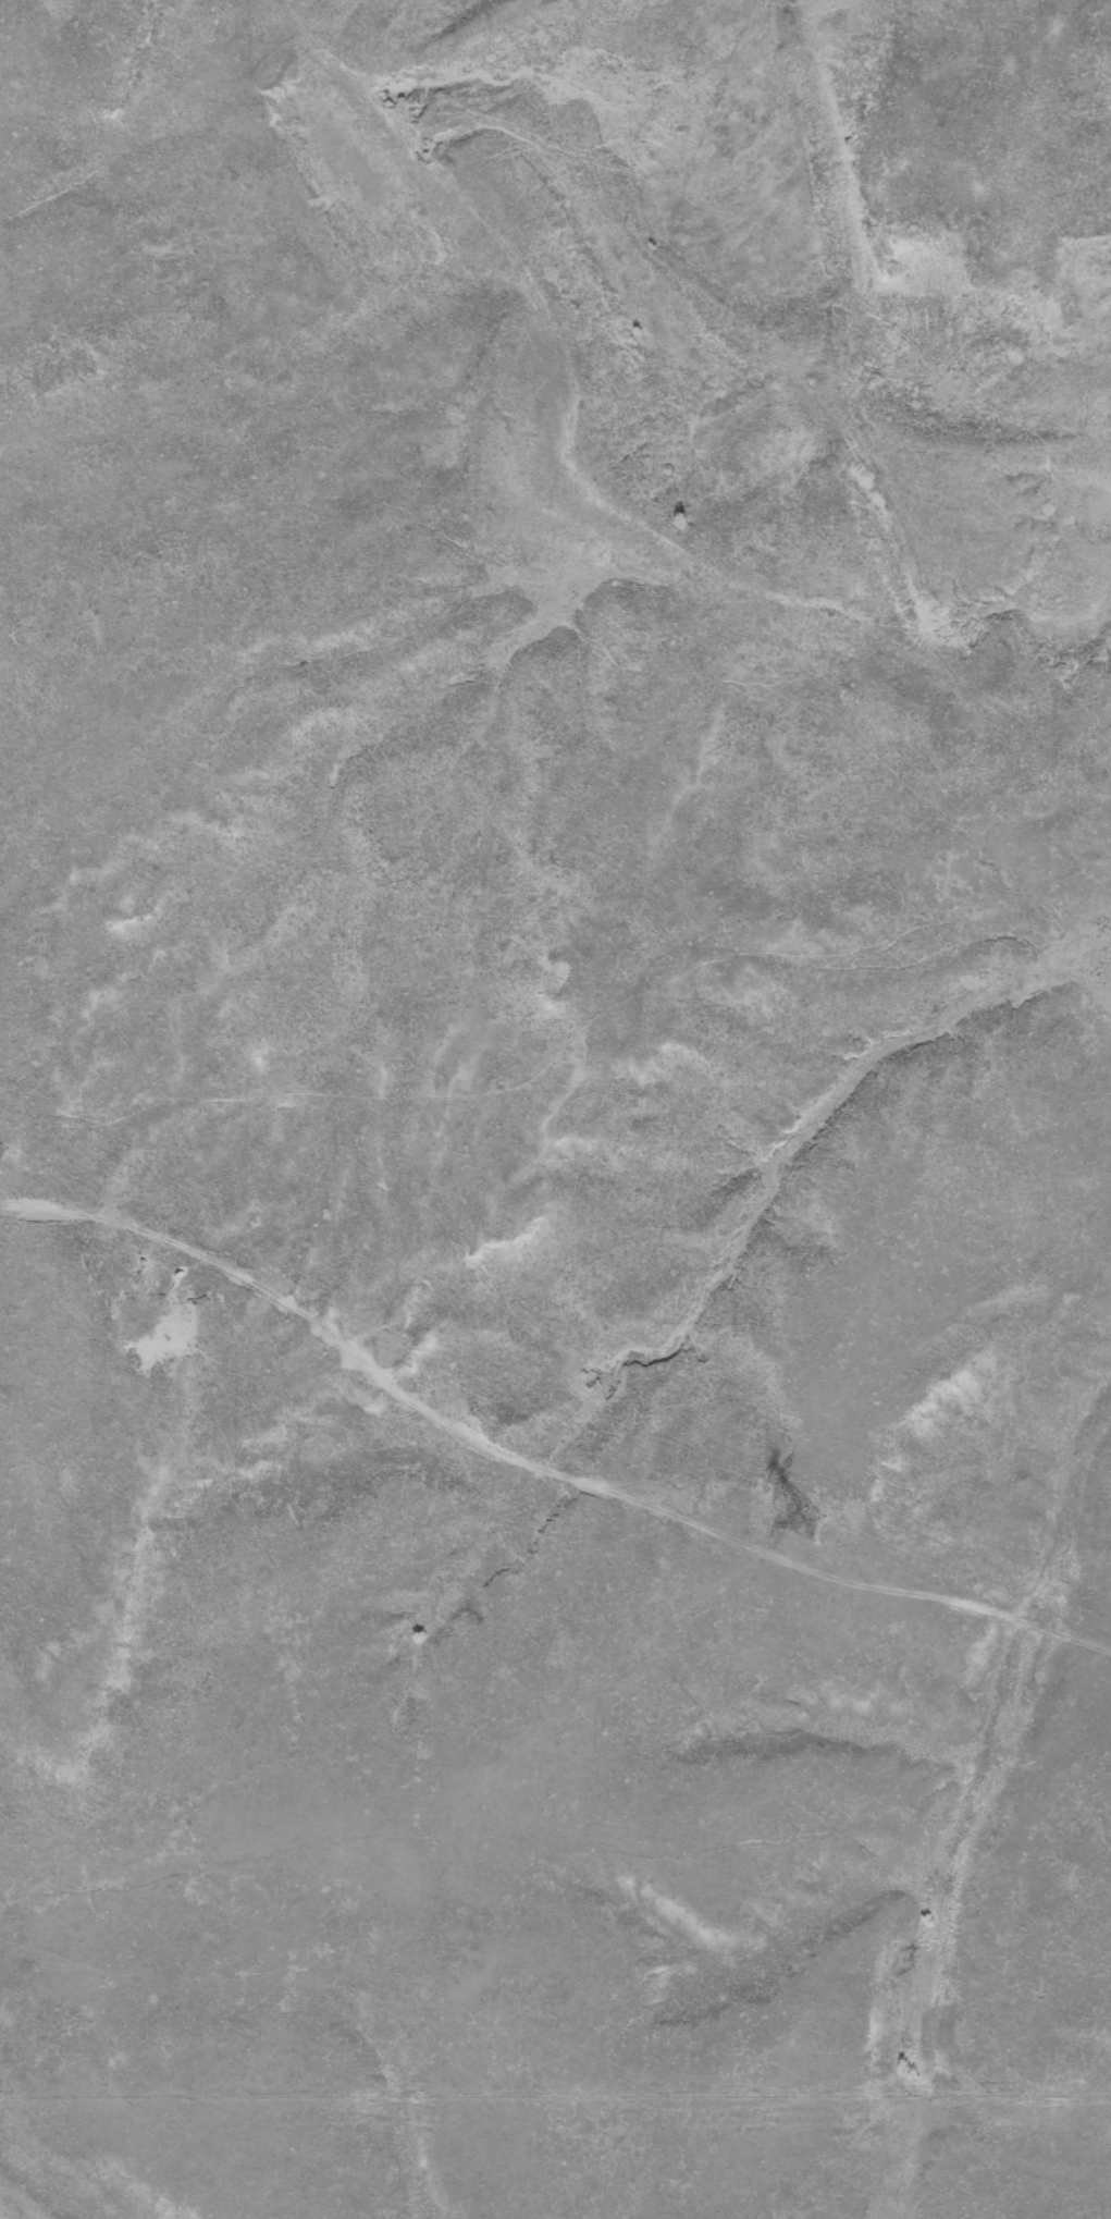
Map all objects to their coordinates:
power tower: (810, 1525)

